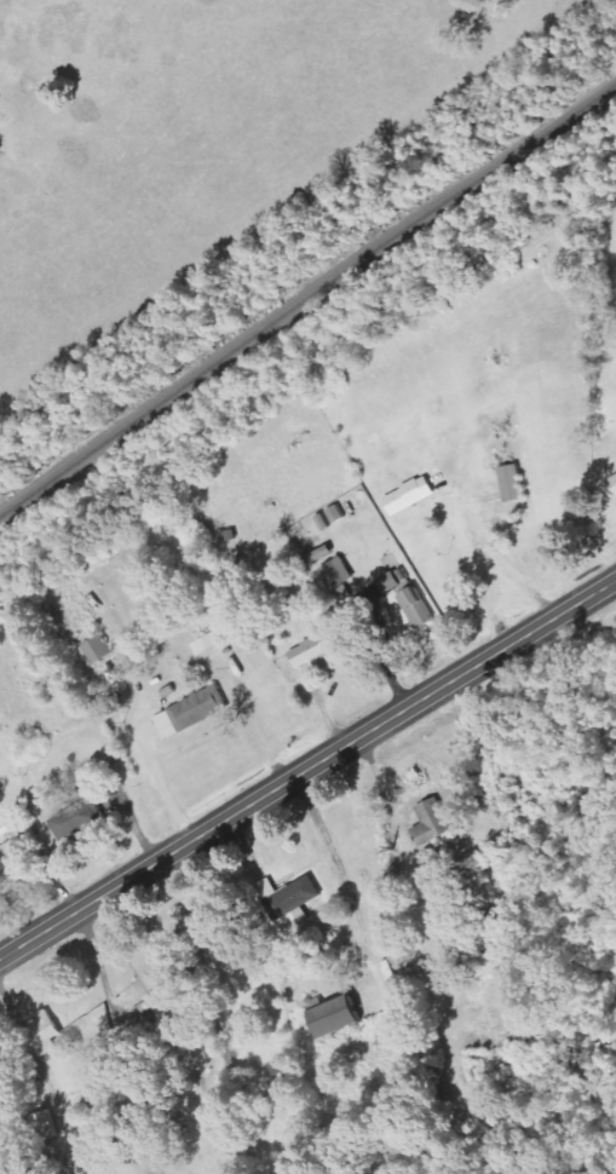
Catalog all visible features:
railway: (307, 295)
building: (614, 479)
building: (512, 483)
building: (409, 496)
building: (392, 582)
building: (415, 608)
building: (98, 649)
building: (315, 650)
building: (191, 713)
road: (307, 771)
building: (76, 818)
building: (432, 831)
building: (15, 853)
building: (288, 897)
building: (483, 966)
building: (175, 992)
building: (335, 1017)
building: (44, 1034)
road: (120, 1063)
building: (282, 1065)
building: (46, 1126)

